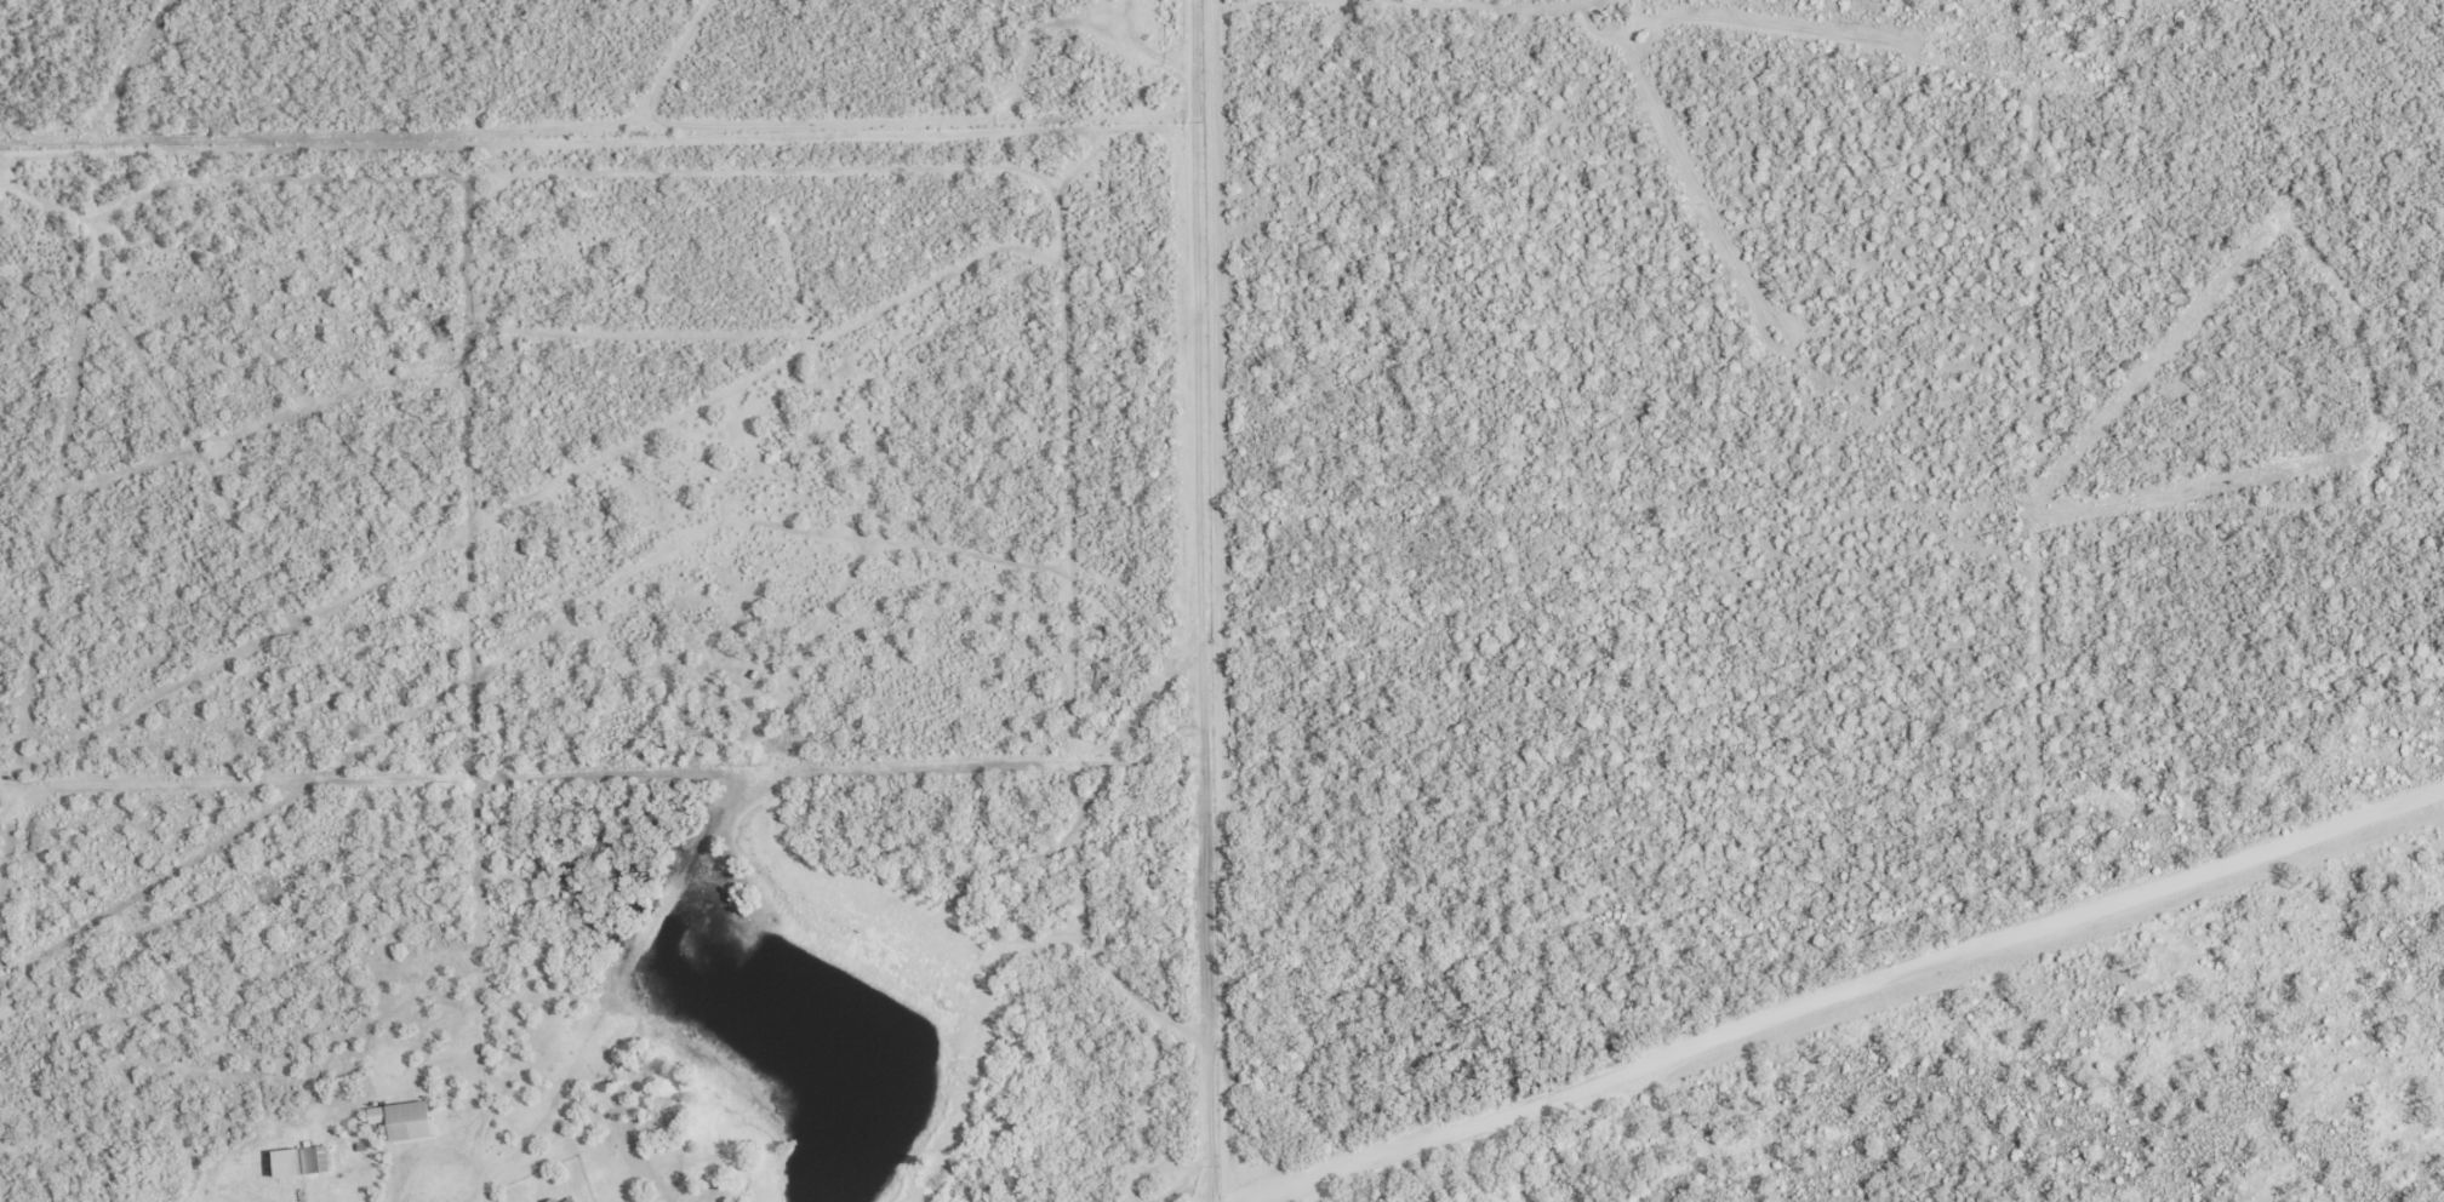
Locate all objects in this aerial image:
road: (1837, 992)

